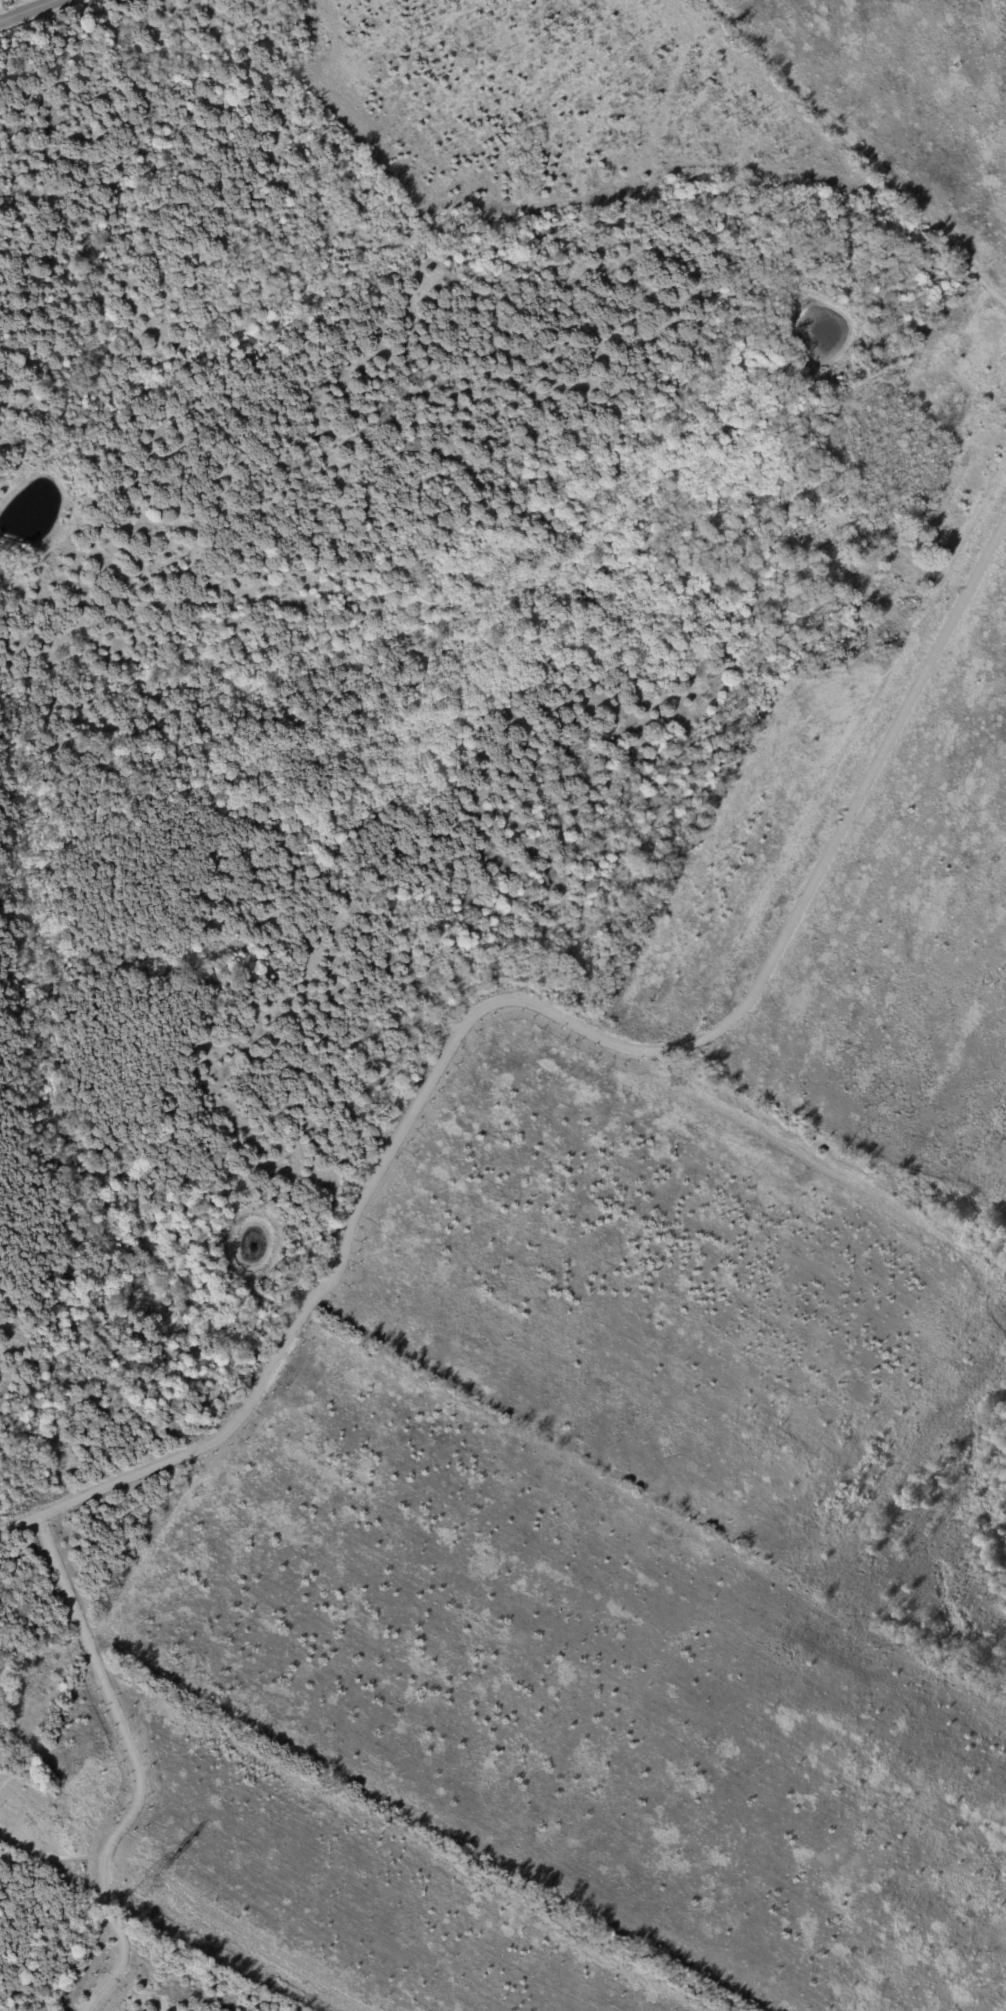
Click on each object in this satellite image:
road: (18, 6)
building: (134, 49)
building: (166, 52)
building: (148, 55)
road: (860, 151)
building: (945, 411)
building: (775, 495)
building: (800, 551)
building: (889, 565)
road: (945, 574)
building: (820, 614)
building: (895, 649)
building: (878, 658)
road: (527, 999)
road: (135, 1763)
power tower: (143, 1885)

